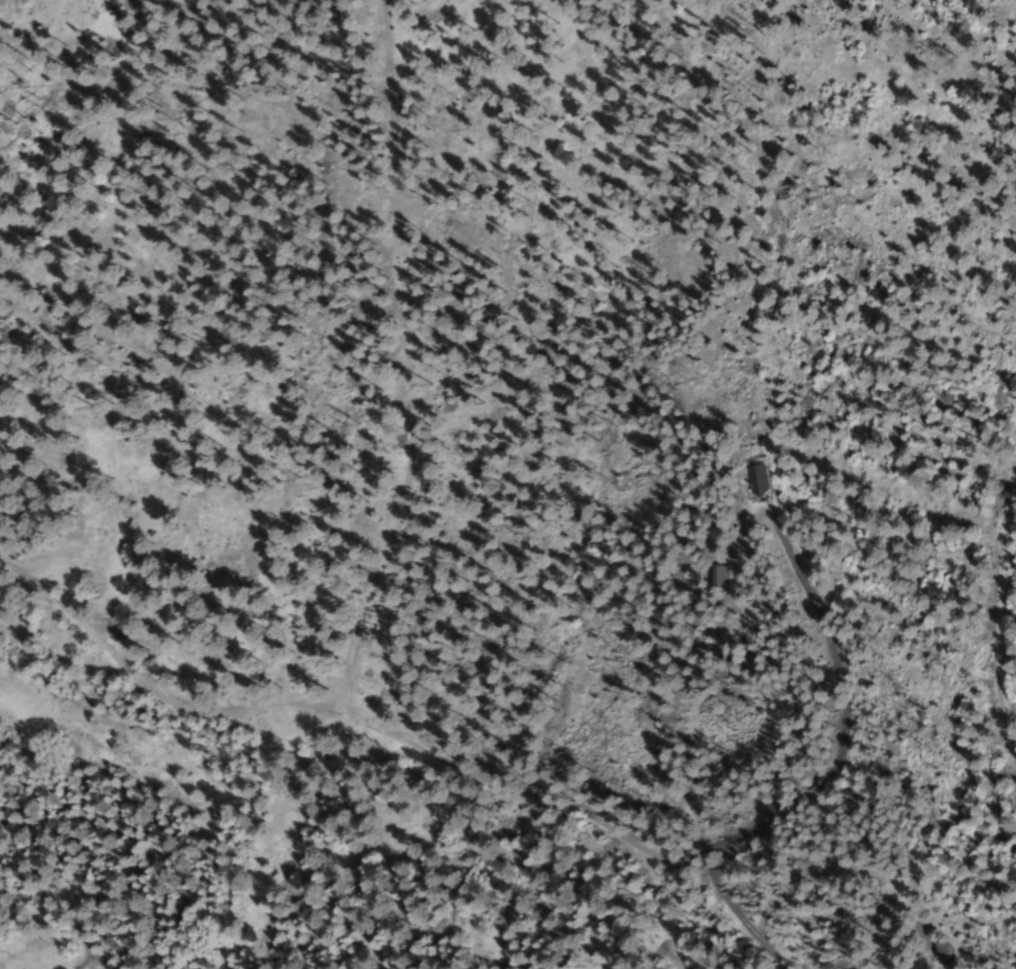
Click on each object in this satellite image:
building: (751, 479)
building: (705, 575)
road: (994, 618)
road: (819, 781)
building: (929, 951)

